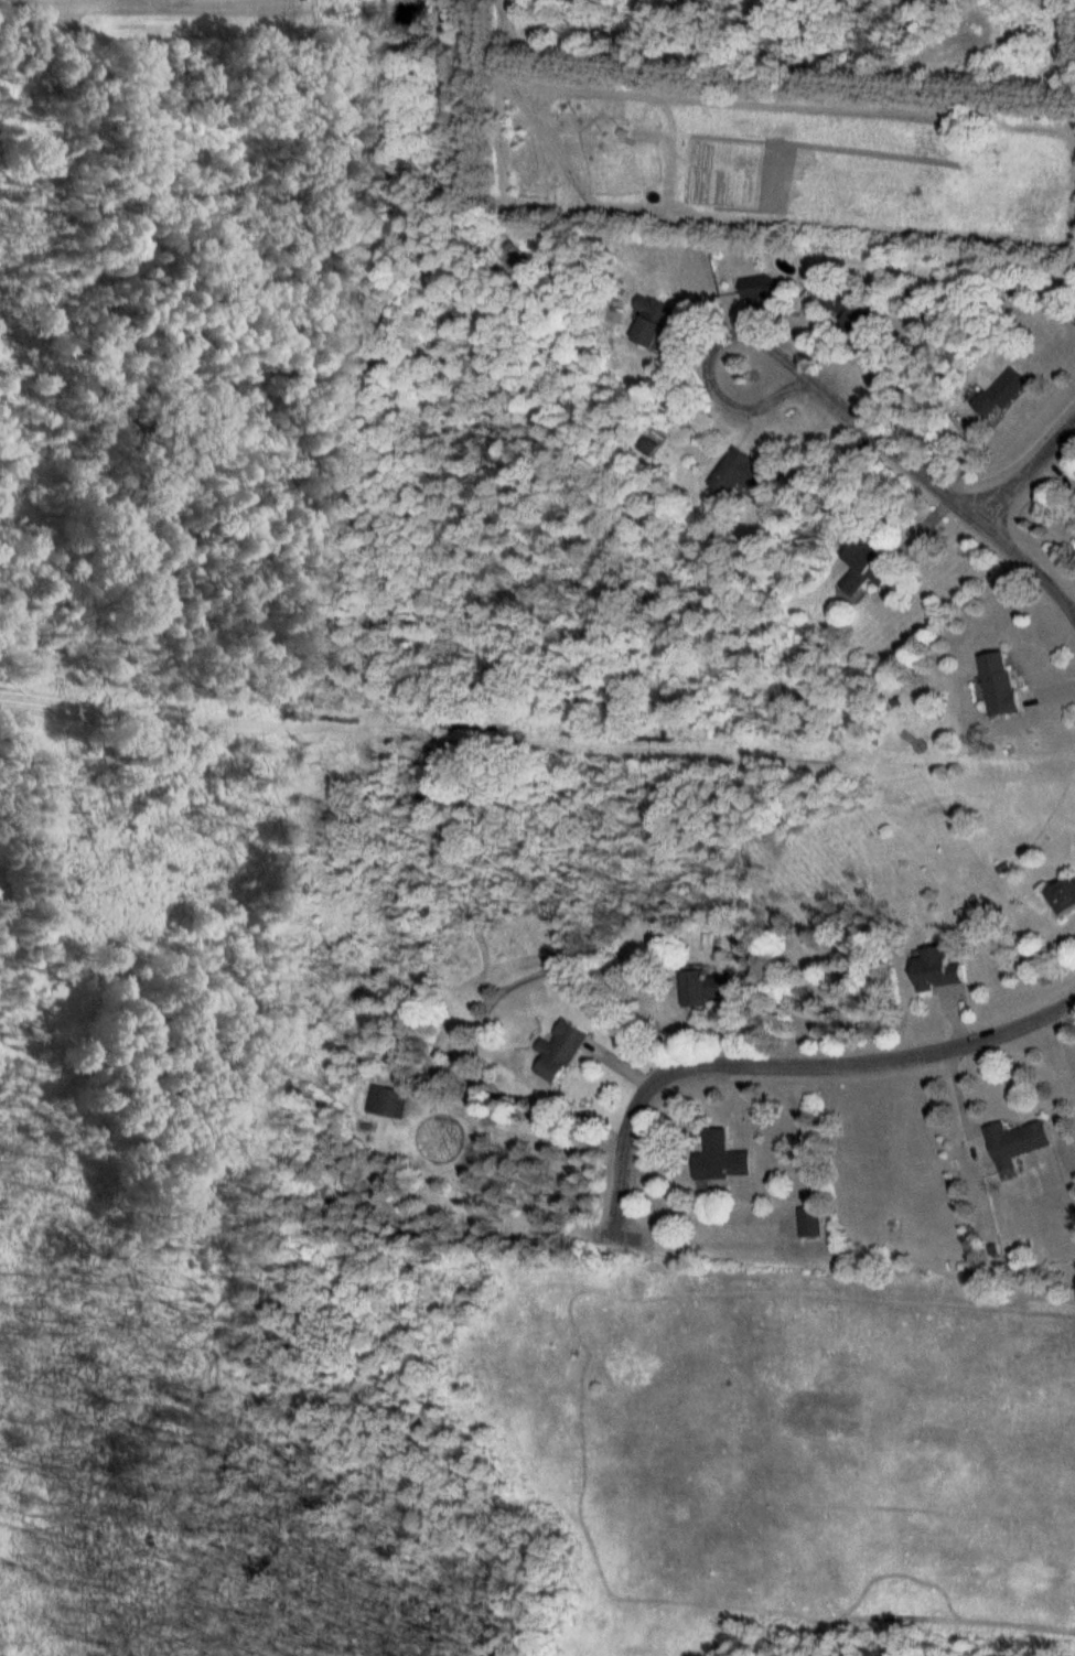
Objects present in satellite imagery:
building: (756, 288)
building: (848, 312)
building: (652, 322)
building: (998, 394)
road: (906, 460)
building: (735, 473)
road: (1029, 473)
building: (863, 568)
building: (997, 686)
building: (1063, 894)
building: (934, 967)
building: (694, 987)
building: (558, 1051)
road: (792, 1061)
building: (387, 1101)
building: (1015, 1141)
building: (720, 1158)
building: (809, 1222)

